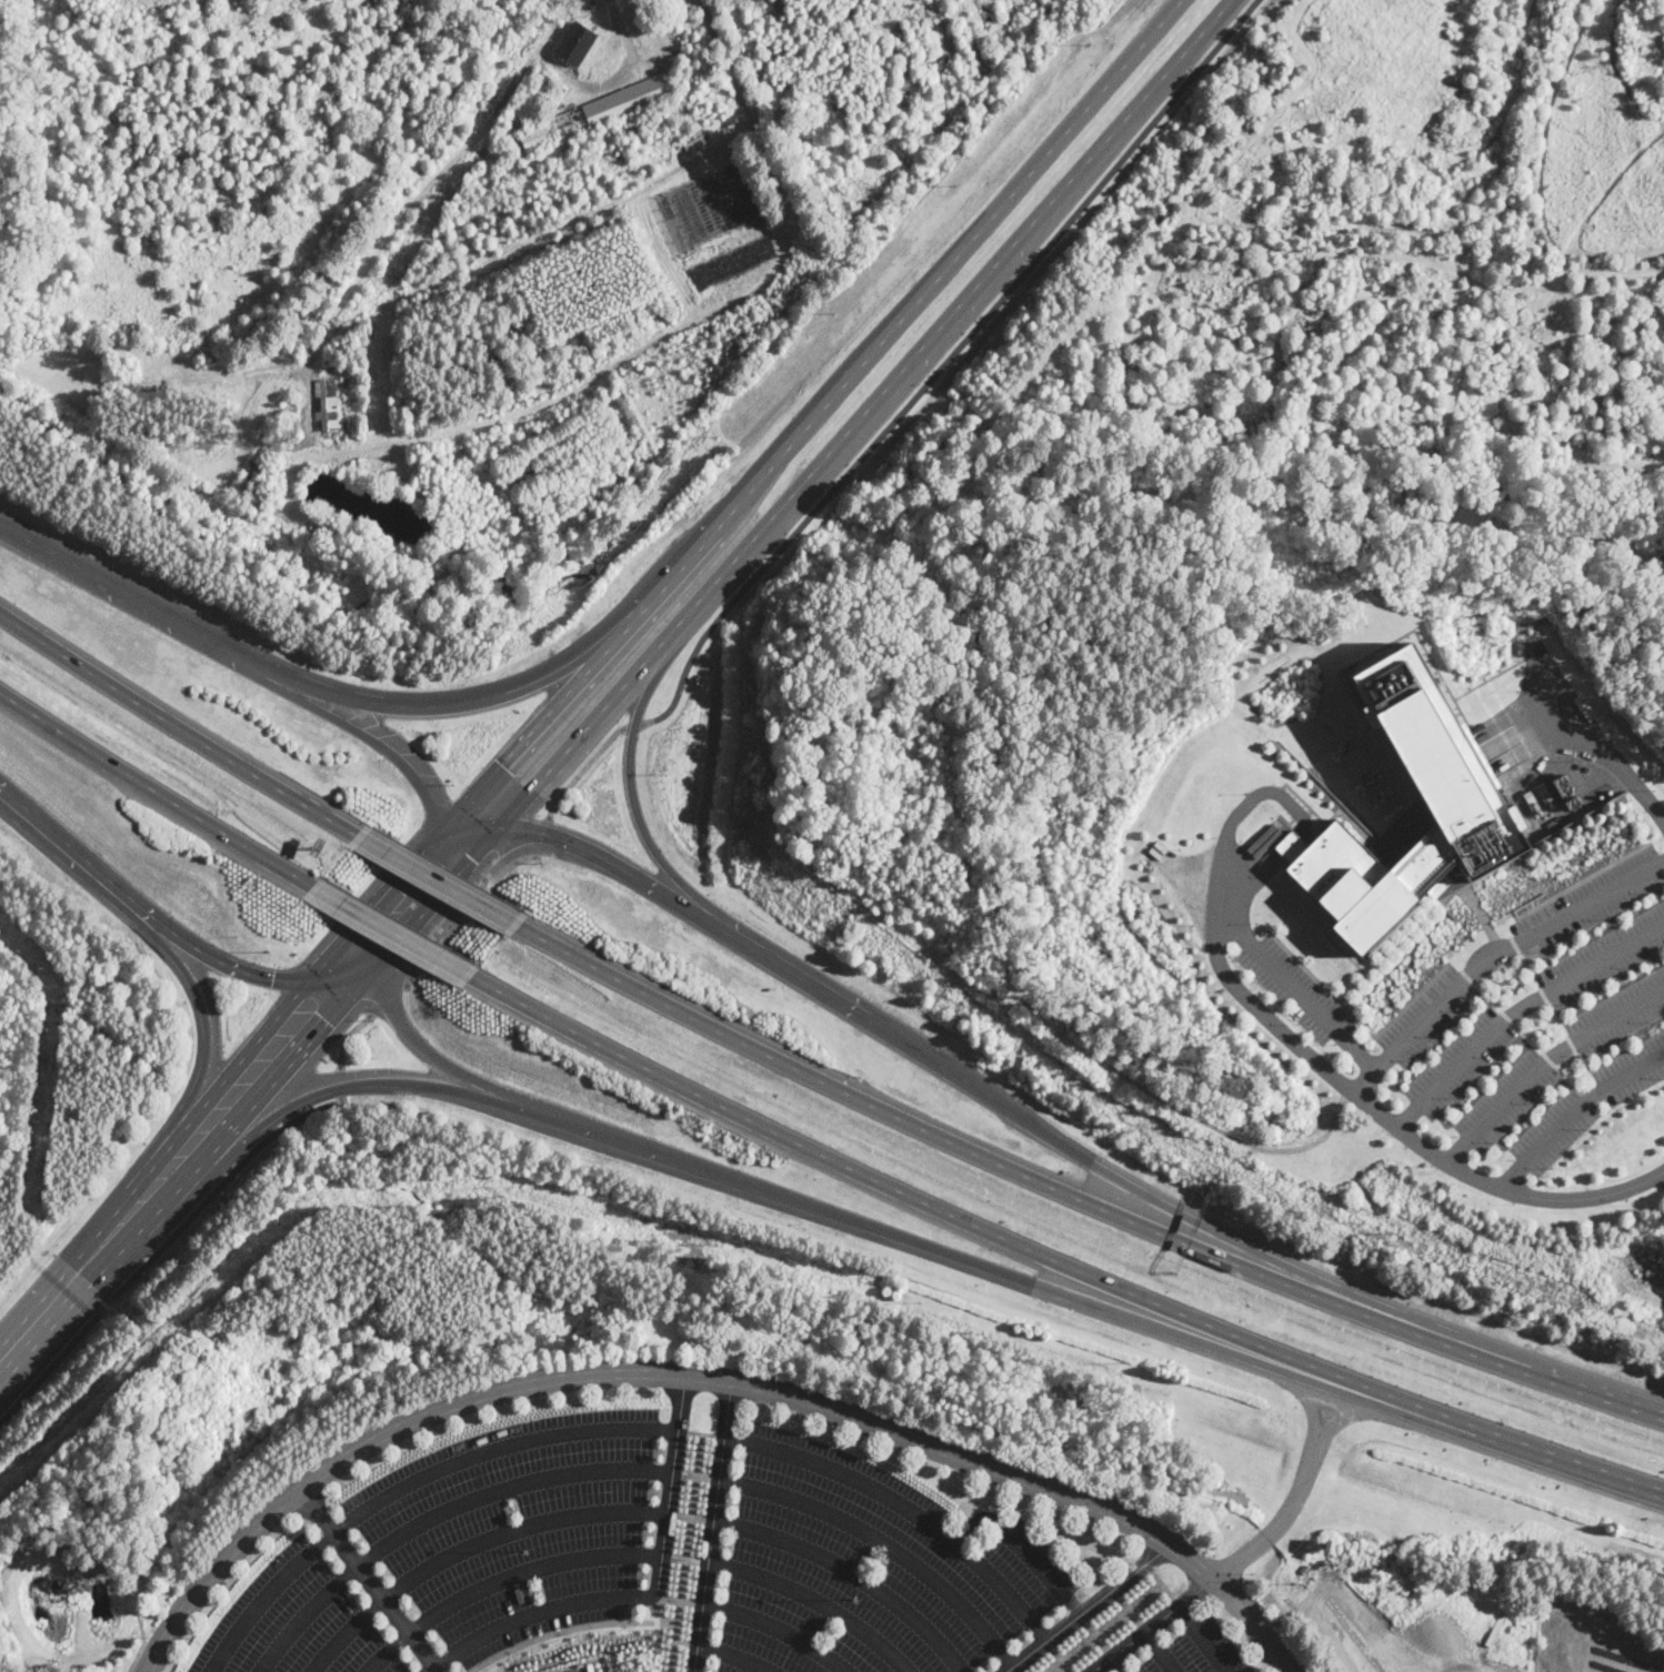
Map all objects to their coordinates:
building: (591, 4)
road: (1229, 4)
building: (575, 43)
building: (681, 56)
road: (610, 80)
building: (700, 83)
building: (693, 87)
building: (541, 91)
building: (555, 95)
road: (1085, 109)
building: (597, 113)
building: (694, 143)
road: (543, 232)
park: (1393, 260)
road: (964, 309)
road: (942, 362)
road: (156, 385)
building: (329, 404)
building: (285, 427)
road: (450, 431)
building: (399, 484)
road: (735, 501)
road: (247, 666)
road: (602, 706)
road: (432, 709)
road: (177, 725)
road: (631, 726)
road: (1595, 739)
building: (1440, 758)
road: (581, 768)
traffic signals: (508, 769)
road: (157, 790)
road: (542, 835)
traffic signals: (545, 835)
road: (653, 847)
road: (1223, 854)
traffic signals: (442, 858)
road: (80, 864)
road: (430, 872)
building: (1366, 878)
road: (439, 882)
road: (478, 888)
road: (1547, 899)
road: (463, 914)
road: (1420, 918)
road: (1507, 930)
road: (395, 935)
traffic signals: (368, 945)
road: (1515, 945)
parking lot: (1522, 947)
road: (1493, 956)
road: (354, 960)
road: (1528, 969)
road: (249, 974)
road: (1466, 976)
traffic signals: (271, 979)
road: (1294, 988)
parking lot: (1295, 989)
road: (1543, 994)
road: (1487, 997)
road: (385, 998)
traffic signals: (313, 1007)
parking lot: (1534, 1007)
road: (1516, 1008)
road: (1506, 1017)
road: (1557, 1018)
road: (1364, 1027)
road: (348, 1035)
road: (1289, 1037)
road: (1527, 1037)
road: (1571, 1043)
parking lot: (1560, 1058)
road: (209, 1059)
road: (1547, 1059)
road: (438, 1061)
road: (1544, 1061)
road: (1585, 1067)
road: (249, 1079)
road: (1567, 1079)
road: (340, 1081)
road: (991, 1099)
parking lot: (1588, 1104)
road: (1572, 1110)
road: (740, 1184)
road: (1522, 1192)
road: (1082, 1193)
road: (160, 1246)
road: (1057, 1263)
road: (81, 1275)
road: (3, 1366)
road: (703, 1374)
road: (1300, 1396)
road: (1391, 1413)
road: (700, 1431)
road: (695, 1474)
road: (408, 1482)
road: (670, 1491)
road: (905, 1507)
road: (437, 1514)
road: (689, 1517)
road: (1274, 1521)
road: (712, 1524)
road: (884, 1542)
road: (469, 1545)
road: (1022, 1547)
parking lot: (460, 1551)
road: (684, 1551)
road: (684, 1559)
parking lot: (876, 1565)
building: (1304, 1569)
road: (853, 1572)
road: (500, 1575)
road: (367, 1578)
road: (1161, 1584)
road: (675, 1600)
road: (818, 1600)
road: (1086, 1608)
road: (528, 1615)
road: (1152, 1625)
road: (781, 1628)
road: (1106, 1629)
road: (1204, 1639)
road: (681, 1642)
parking lot: (1201, 1648)
road: (139, 1651)
road: (1159, 1652)
road: (735, 1654)
road: (1116, 1664)
road: (437, 1670)
building: (574, 1671)

